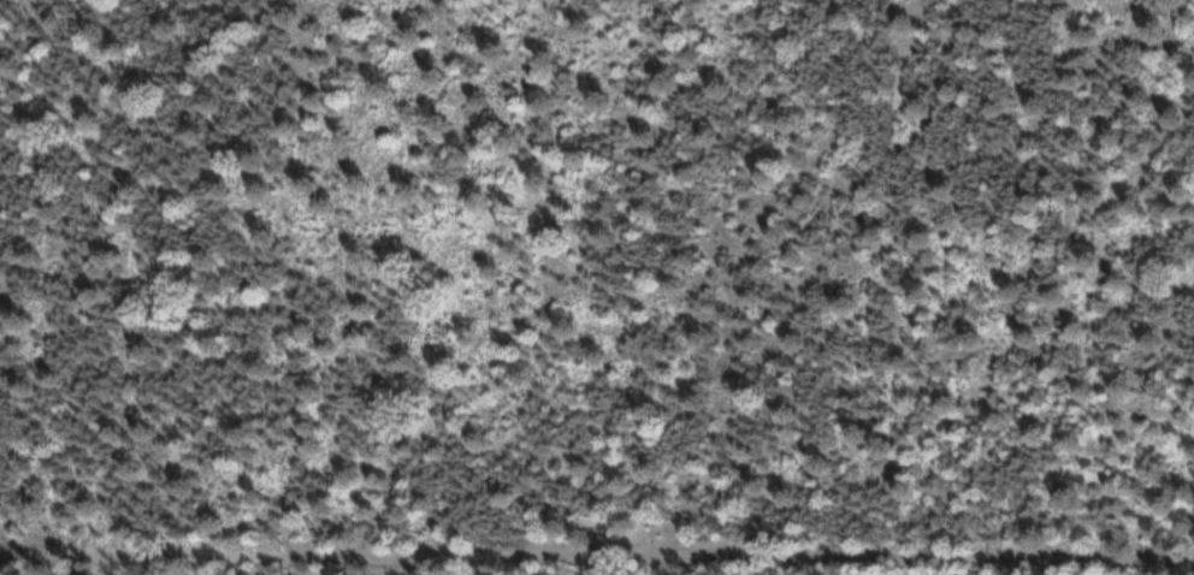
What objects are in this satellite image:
road: (597, 559)

